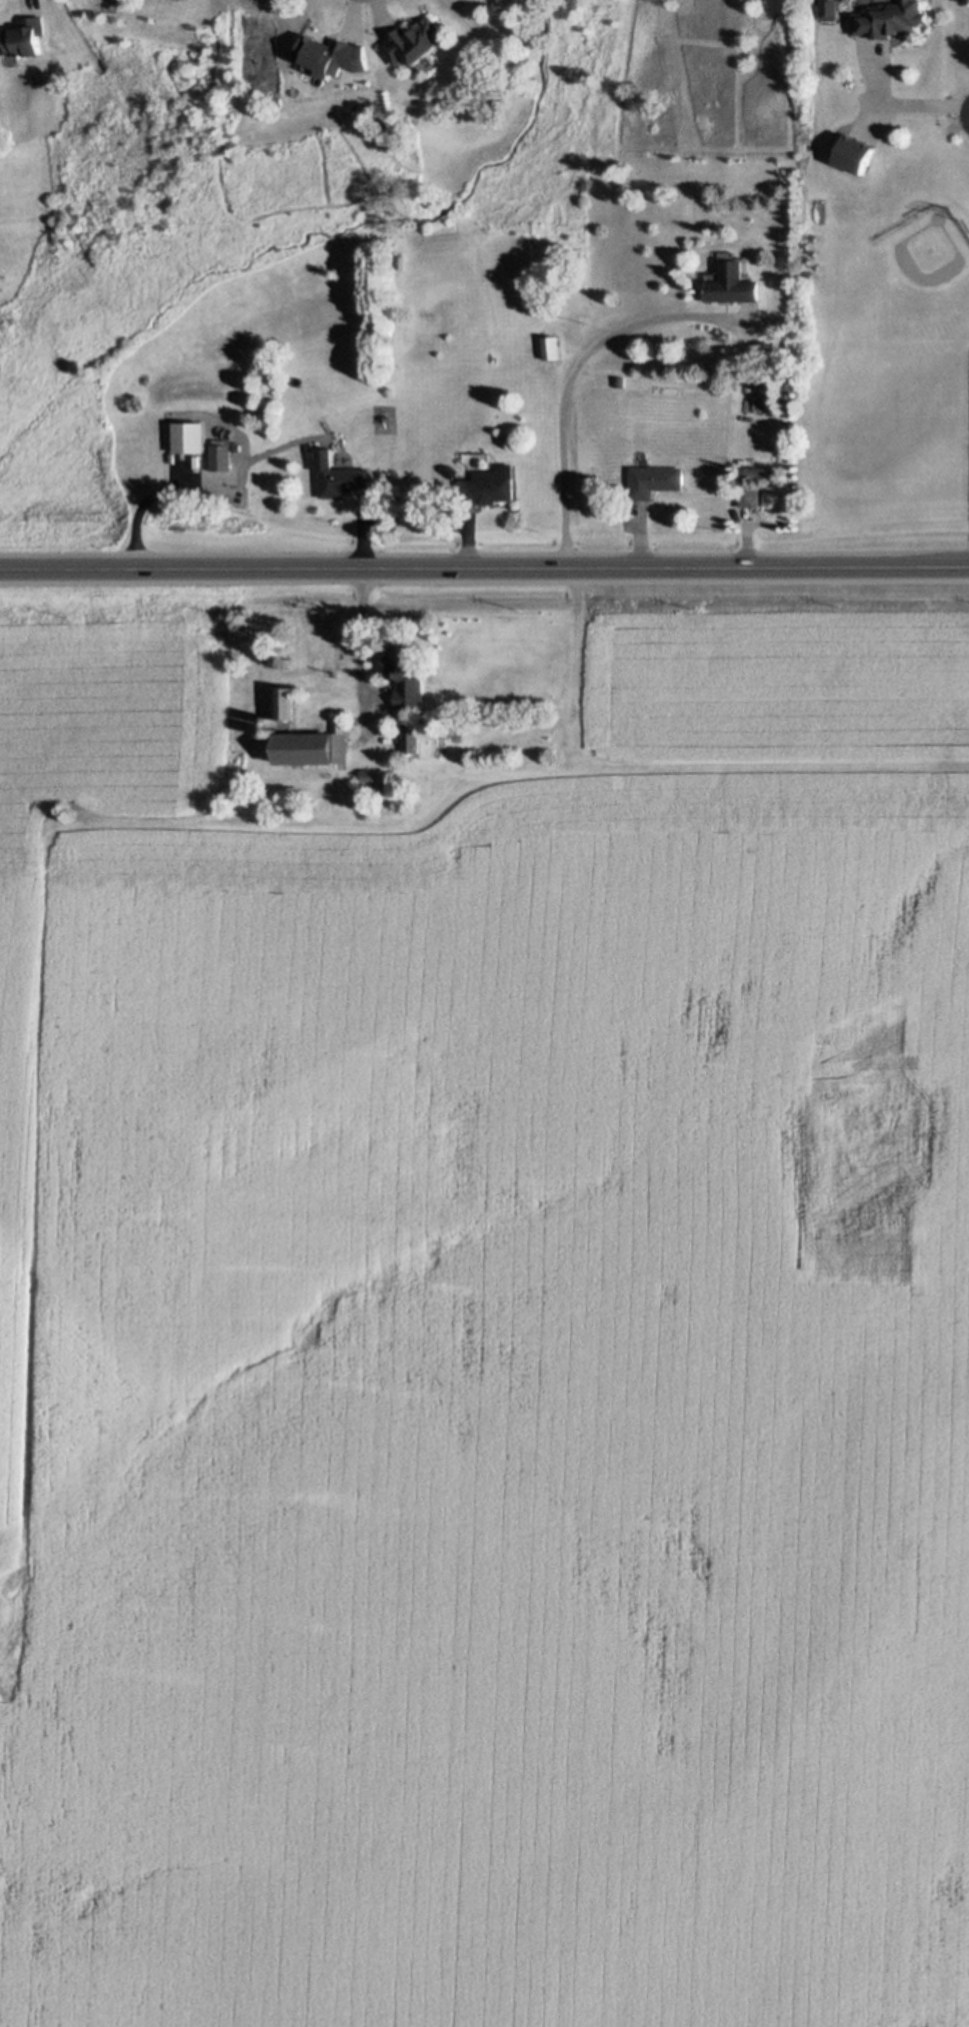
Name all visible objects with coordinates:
road: (27, 2)
building: (830, 9)
building: (891, 19)
building: (25, 37)
building: (416, 42)
road: (899, 104)
building: (855, 154)
building: (731, 281)
building: (552, 348)
building: (794, 371)
road: (570, 379)
building: (620, 381)
building: (790, 392)
building: (189, 438)
building: (223, 453)
building: (452, 471)
building: (763, 473)
building: (339, 476)
building: (655, 481)
building: (490, 486)
building: (750, 497)
road: (484, 570)
road: (366, 635)
building: (407, 678)
building: (290, 706)
building: (274, 722)
building: (412, 738)
building: (314, 749)
building: (372, 774)

